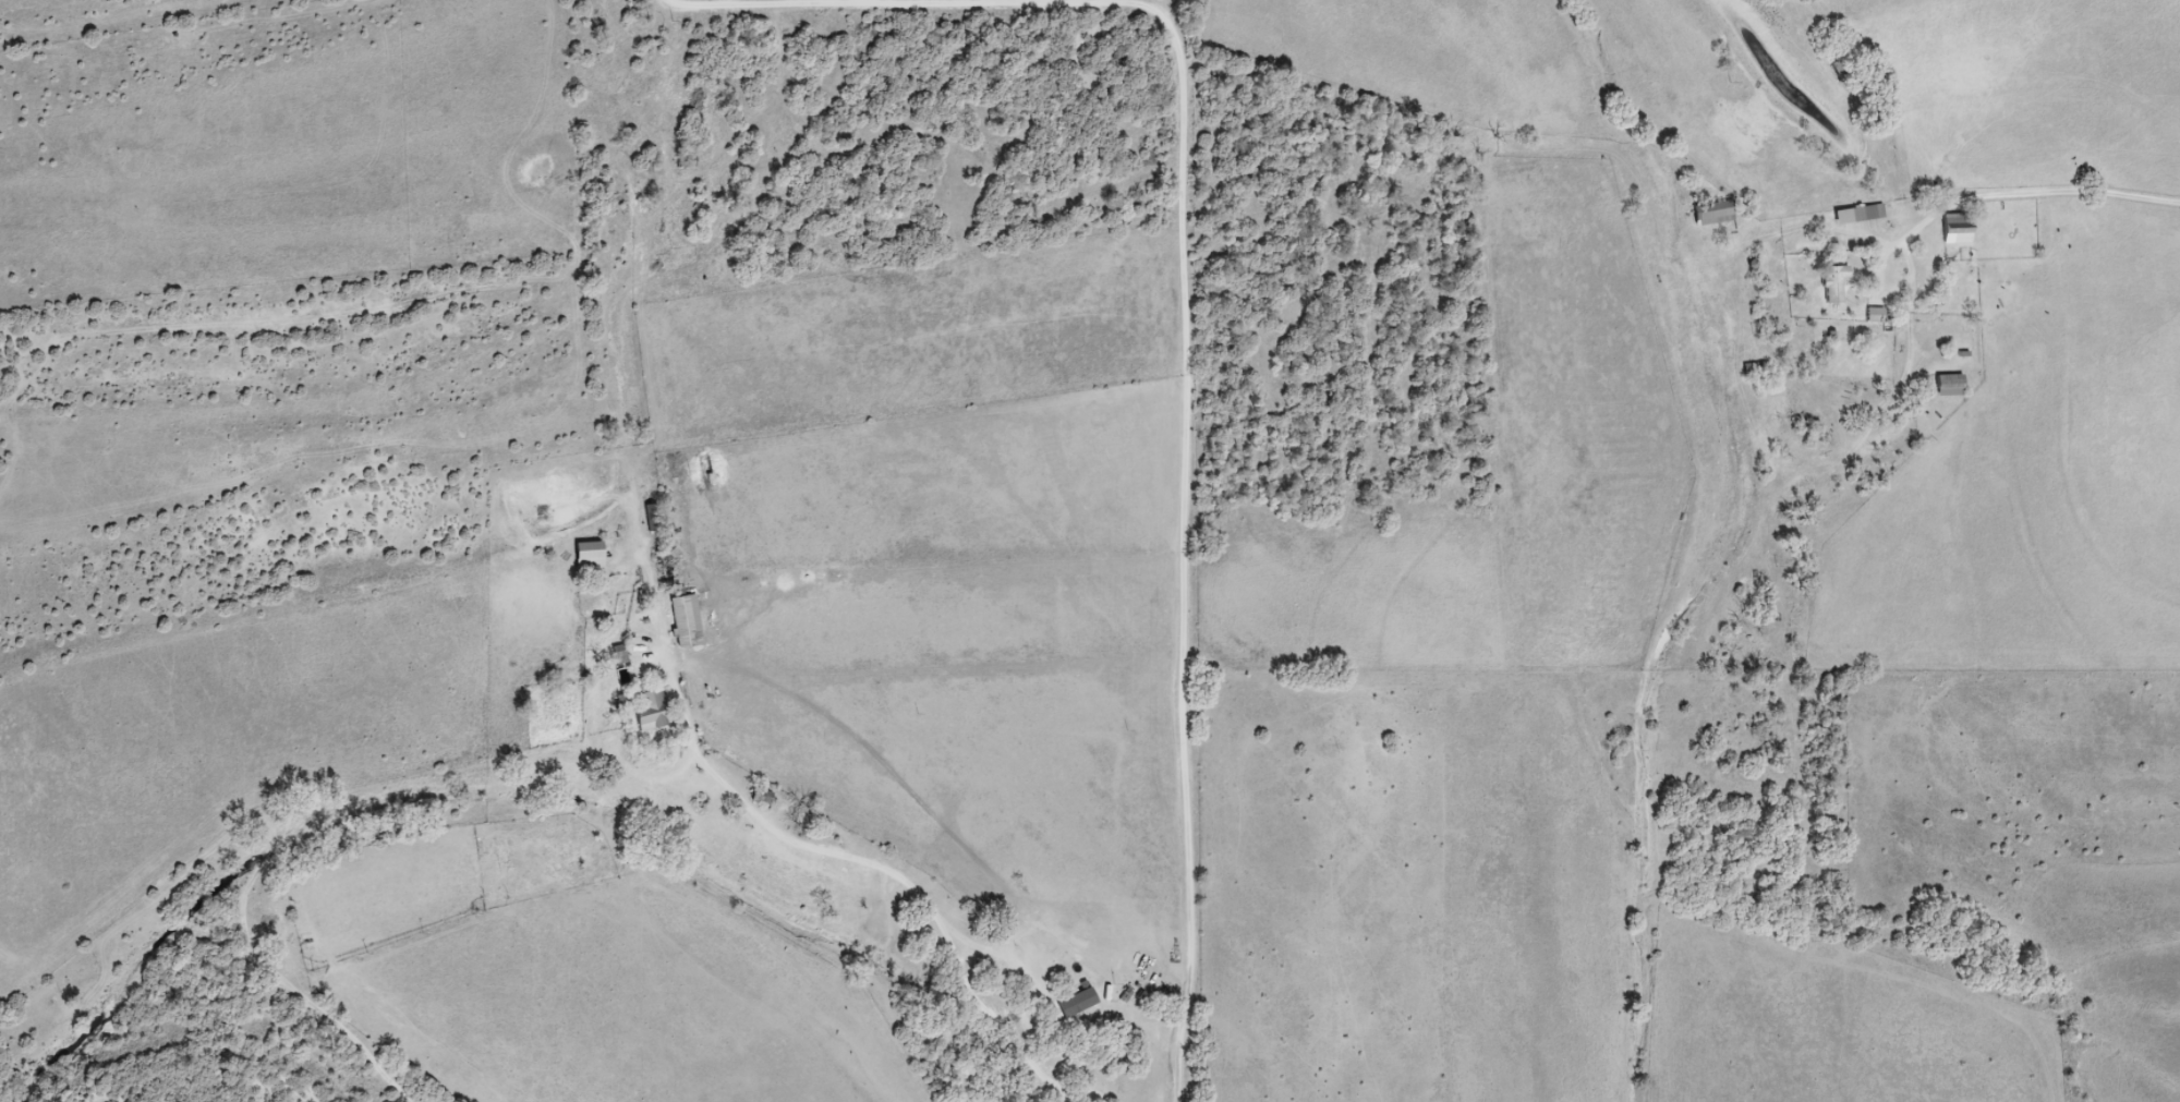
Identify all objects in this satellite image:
road: (2009, 191)
building: (1715, 215)
building: (1860, 216)
building: (1957, 230)
building: (1834, 284)
building: (1875, 316)
building: (1951, 387)
building: (653, 519)
building: (589, 557)
building: (664, 572)
building: (692, 614)
road: (497, 637)
building: (652, 712)
building: (1081, 971)
road: (1040, 1074)

